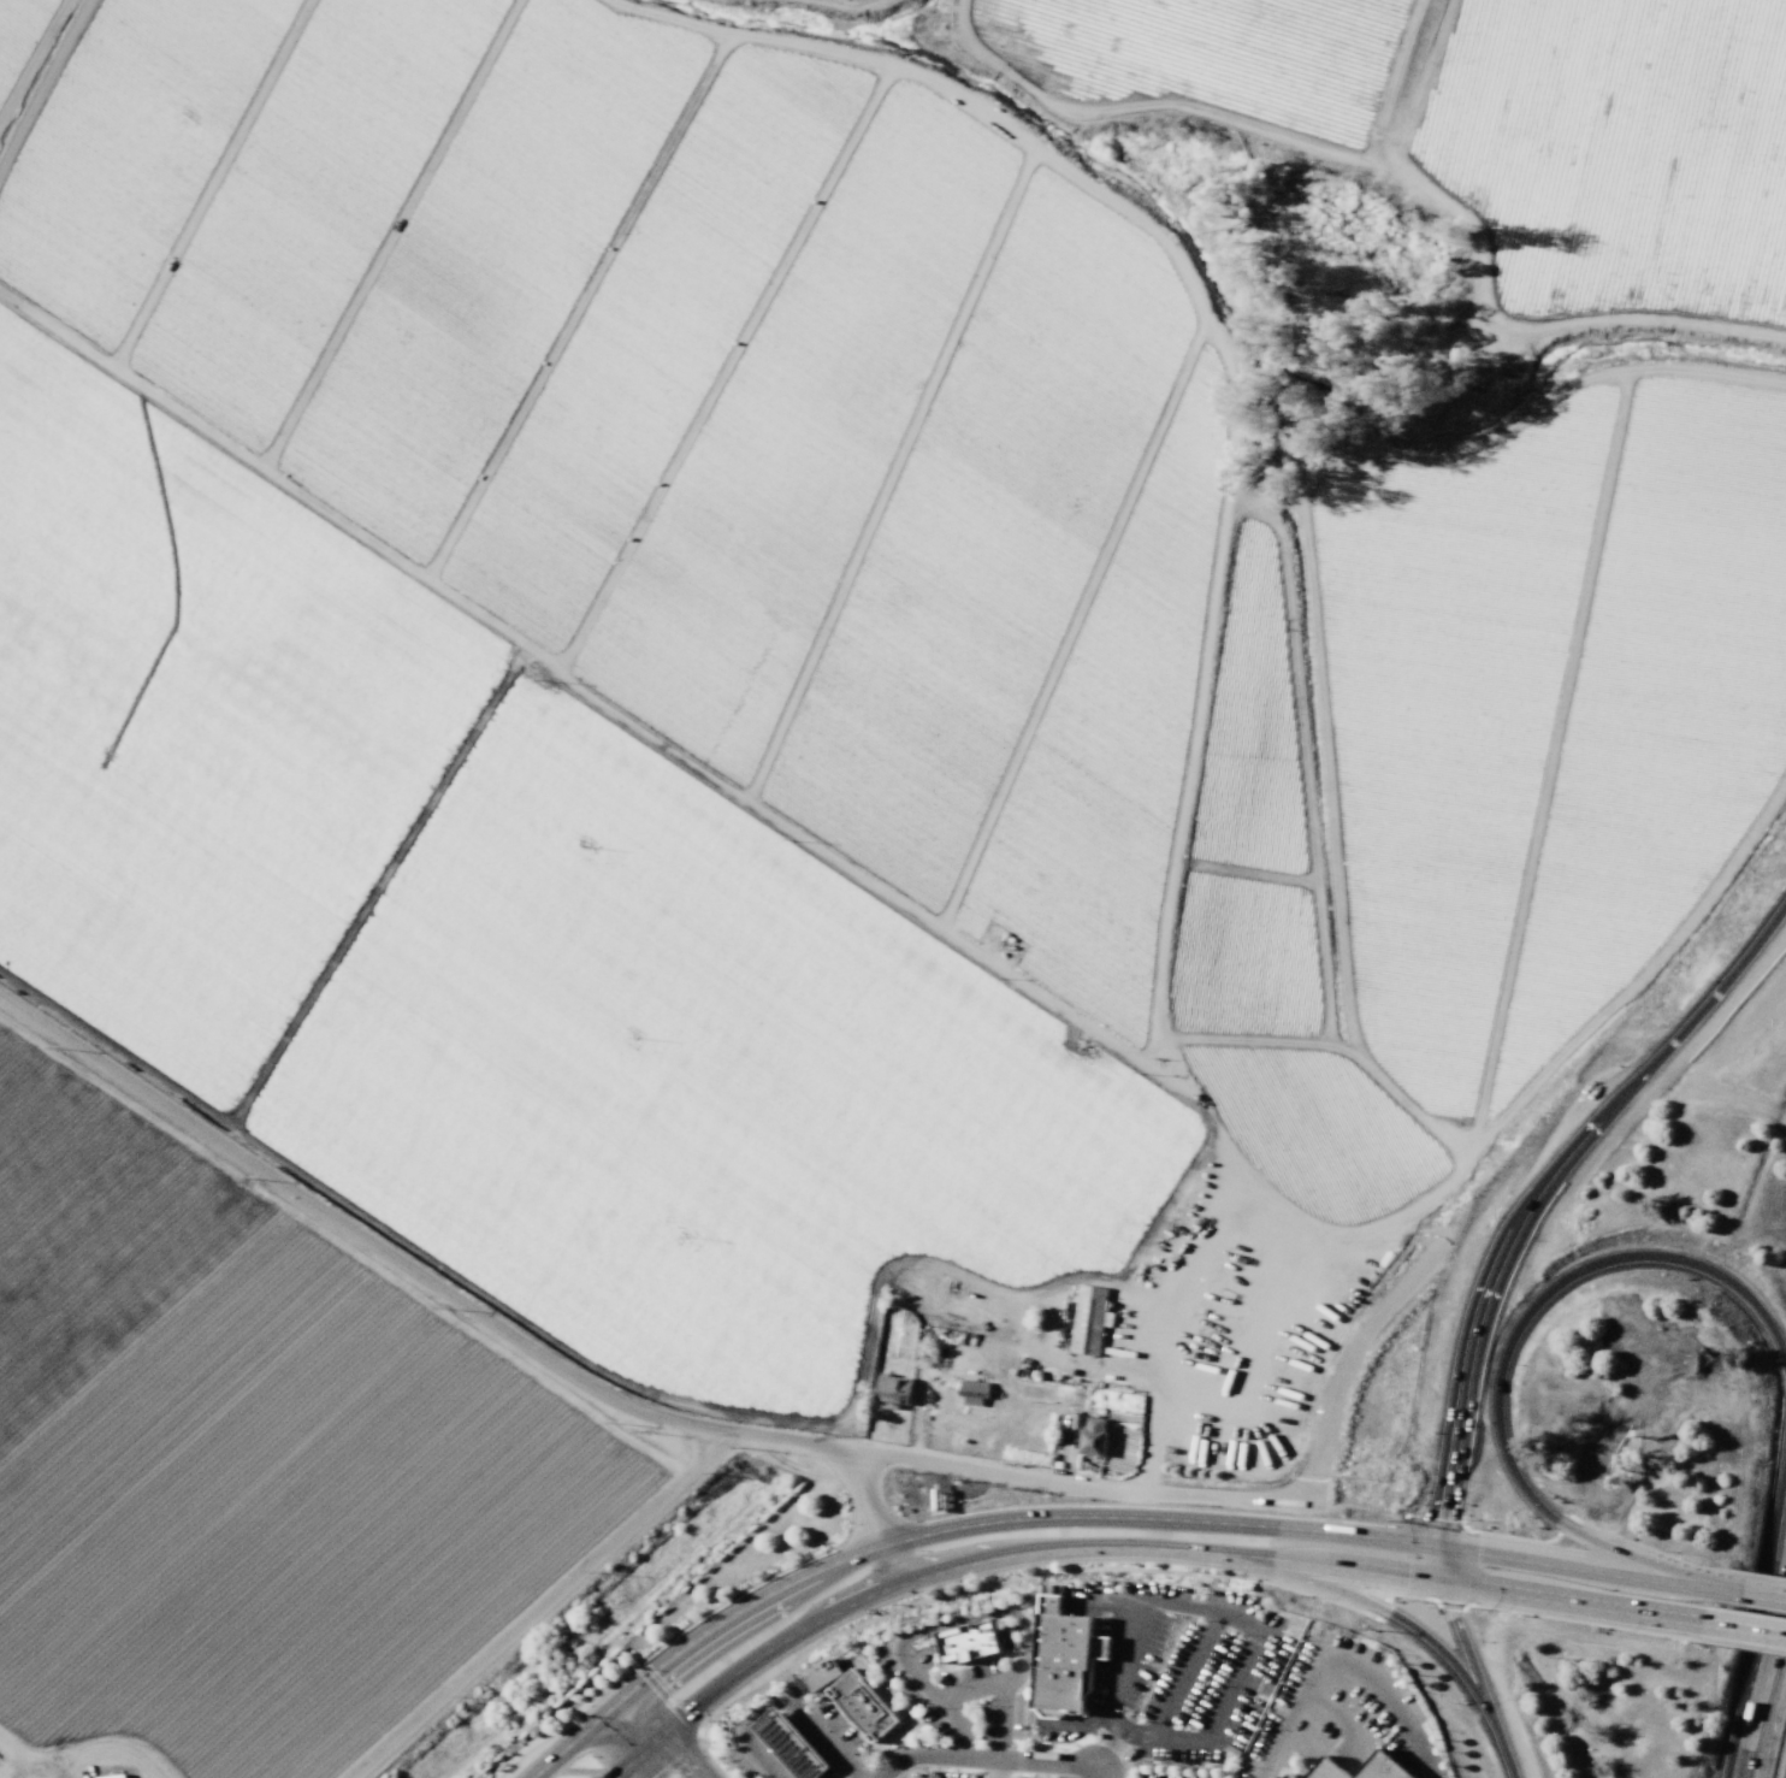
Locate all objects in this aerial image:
road: (830, 7)
road: (1236, 57)
road: (36, 69)
road: (1396, 78)
road: (43, 87)
road: (1163, 107)
road: (1025, 143)
road: (1698, 160)
road: (205, 181)
road: (386, 232)
road: (1479, 284)
road: (573, 306)
road: (723, 368)
road: (889, 477)
road: (1303, 509)
road: (1076, 626)
crop: (796, 722)
road: (1545, 768)
road: (1189, 769)
road: (1302, 774)
road: (475, 932)
road: (948, 935)
road: (1318, 1044)
road: (1547, 1194)
road: (479, 1293)
road: (1036, 1296)
road: (463, 1305)
building: (1088, 1319)
road: (1172, 1324)
road: (1260, 1352)
road: (1507, 1360)
building: (893, 1392)
building: (971, 1393)
building: (1092, 1437)
road: (1217, 1499)
road: (1029, 1518)
road: (1230, 1524)
road: (1358, 1536)
traffic signals: (1437, 1549)
road: (1036, 1552)
road: (1229, 1554)
road: (1442, 1565)
road: (1360, 1567)
road: (1772, 1567)
road: (1589, 1571)
traffic signals: (1448, 1582)
road: (1763, 1595)
road: (1574, 1601)
road: (544, 1603)
road: (1361, 1605)
road: (1005, 1611)
road: (1235, 1620)
road: (1744, 1628)
road: (692, 1641)
building: (966, 1641)
building: (1063, 1658)
road: (1760, 1659)
road: (743, 1667)
building: (820, 1674)
road: (821, 1674)
road: (1184, 1674)
road: (1479, 1680)
road: (974, 1689)
road: (794, 1690)
road: (930, 1693)
parking lot: (956, 1697)
traffic signals: (615, 1703)
road: (1386, 1703)
building: (861, 1705)
road: (898, 1711)
road: (1330, 1712)
road: (1289, 1715)
road: (1000, 1725)
road: (741, 1732)
road: (663, 1735)
traffic signals: (663, 1735)
road: (821, 1737)
road: (627, 1743)
building: (788, 1744)
road: (1111, 1750)
road: (989, 1758)
traffic signals: (635, 1759)
building: (1382, 1767)
building: (1325, 1770)
building: (111, 1776)
building: (1289, 1776)

